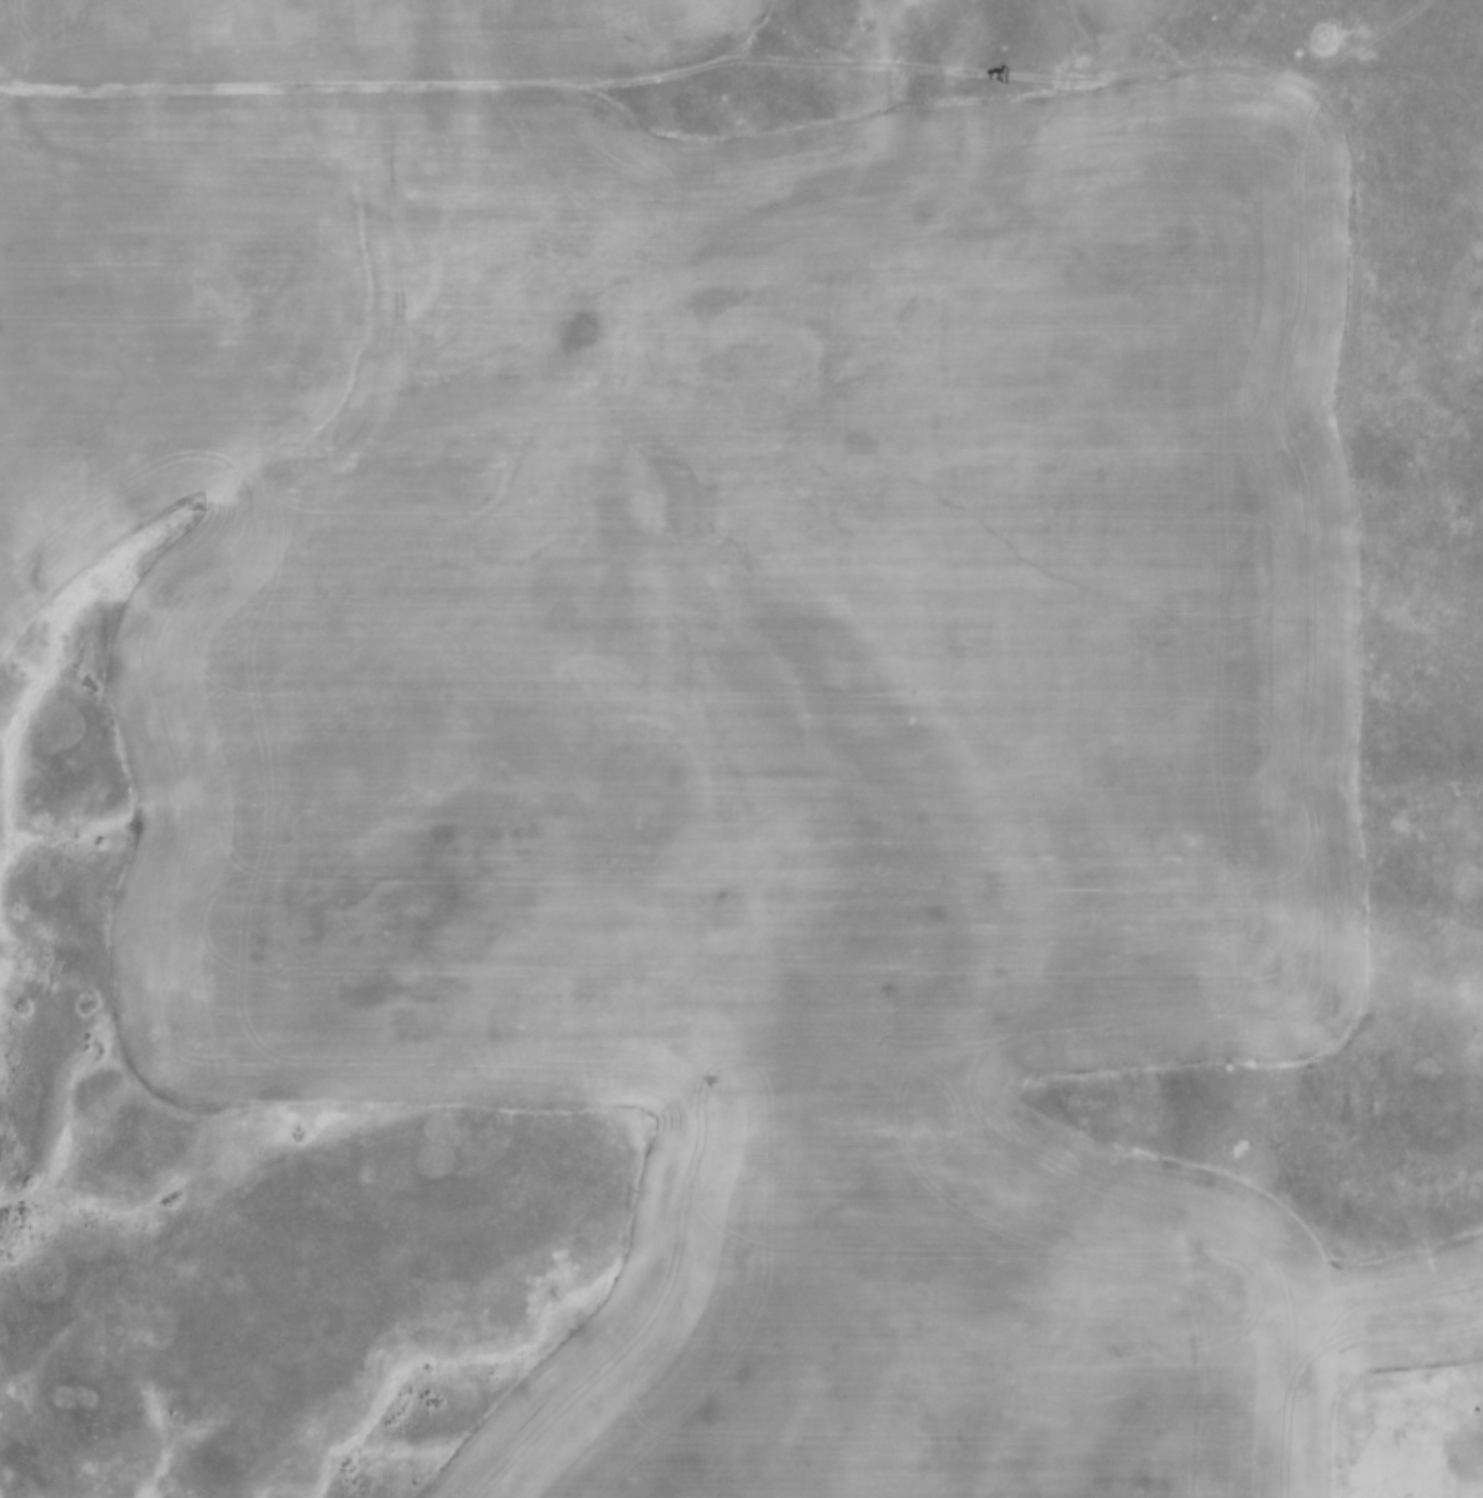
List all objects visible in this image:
road: (742, 59)
road: (1477, 331)

